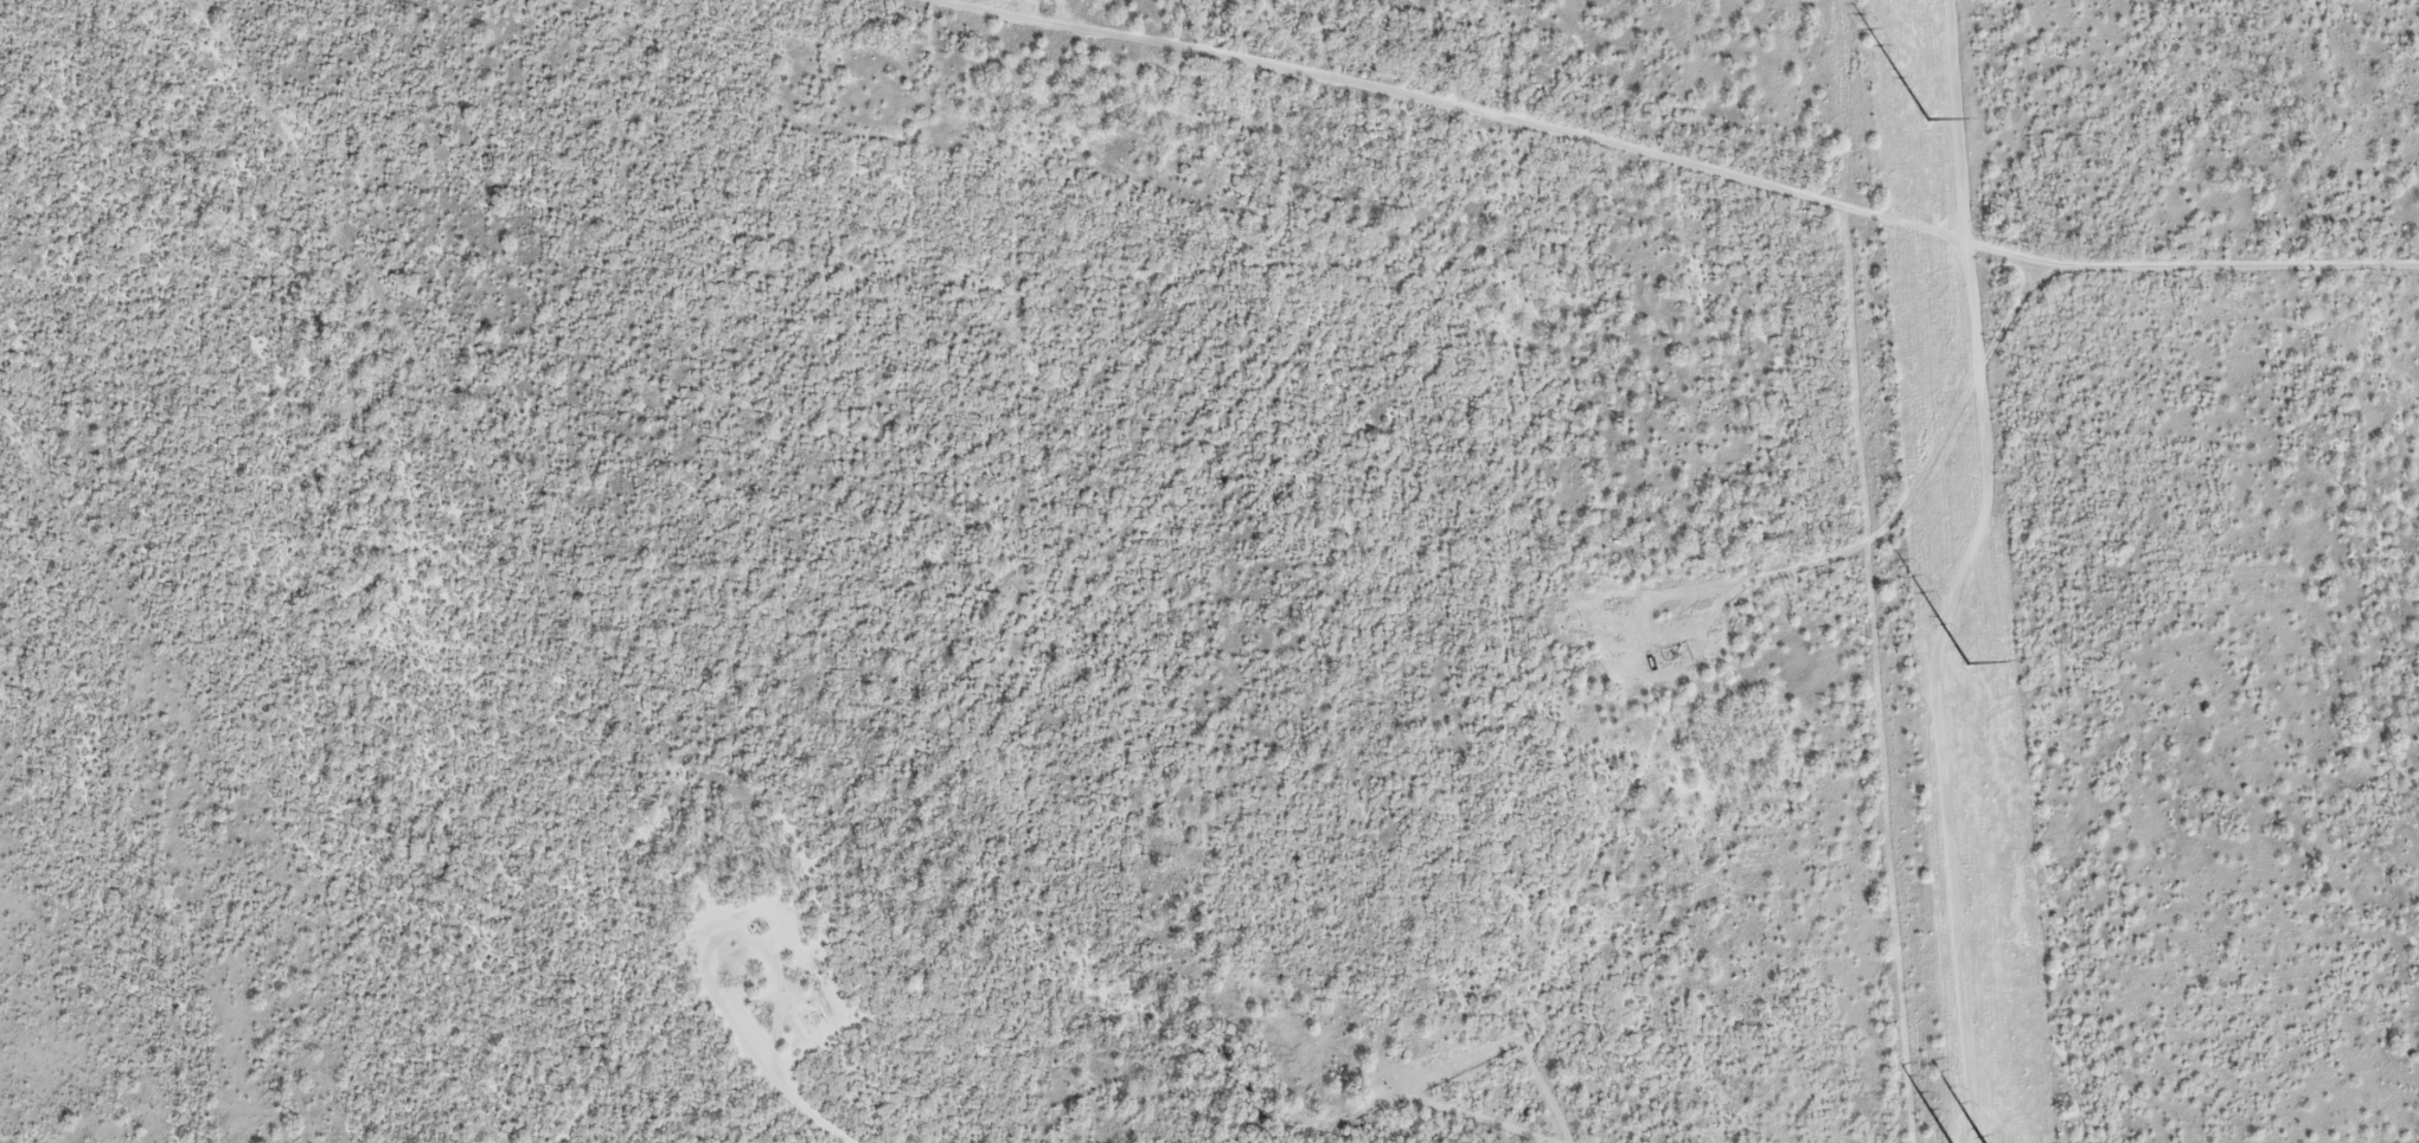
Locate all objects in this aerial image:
power tower: (1836, 26)
power tower: (1927, 121)
power tower: (1864, 435)
power tower: (1967, 663)
power tower: (1894, 846)

